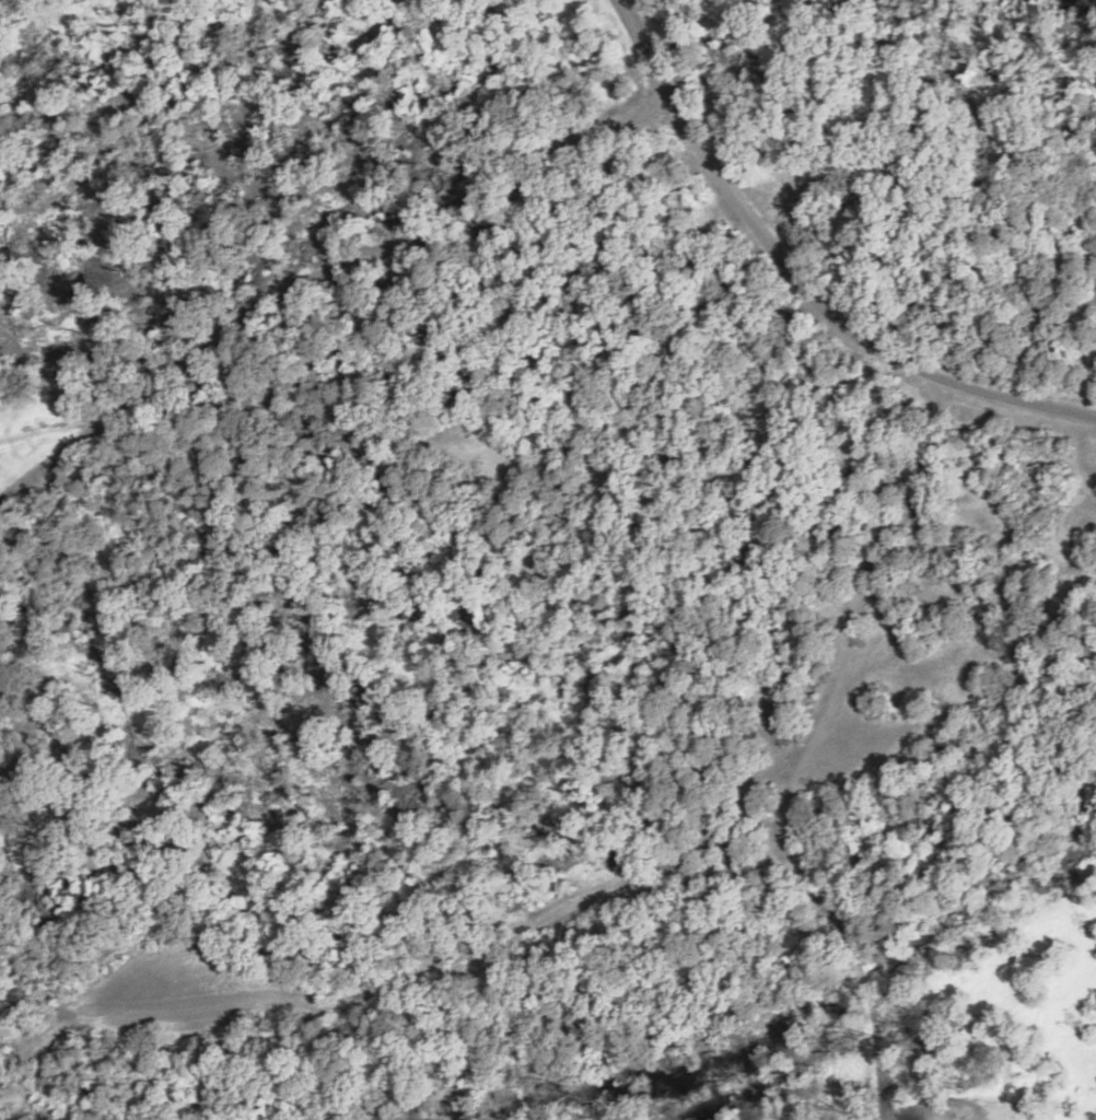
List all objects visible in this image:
road: (800, 276)

